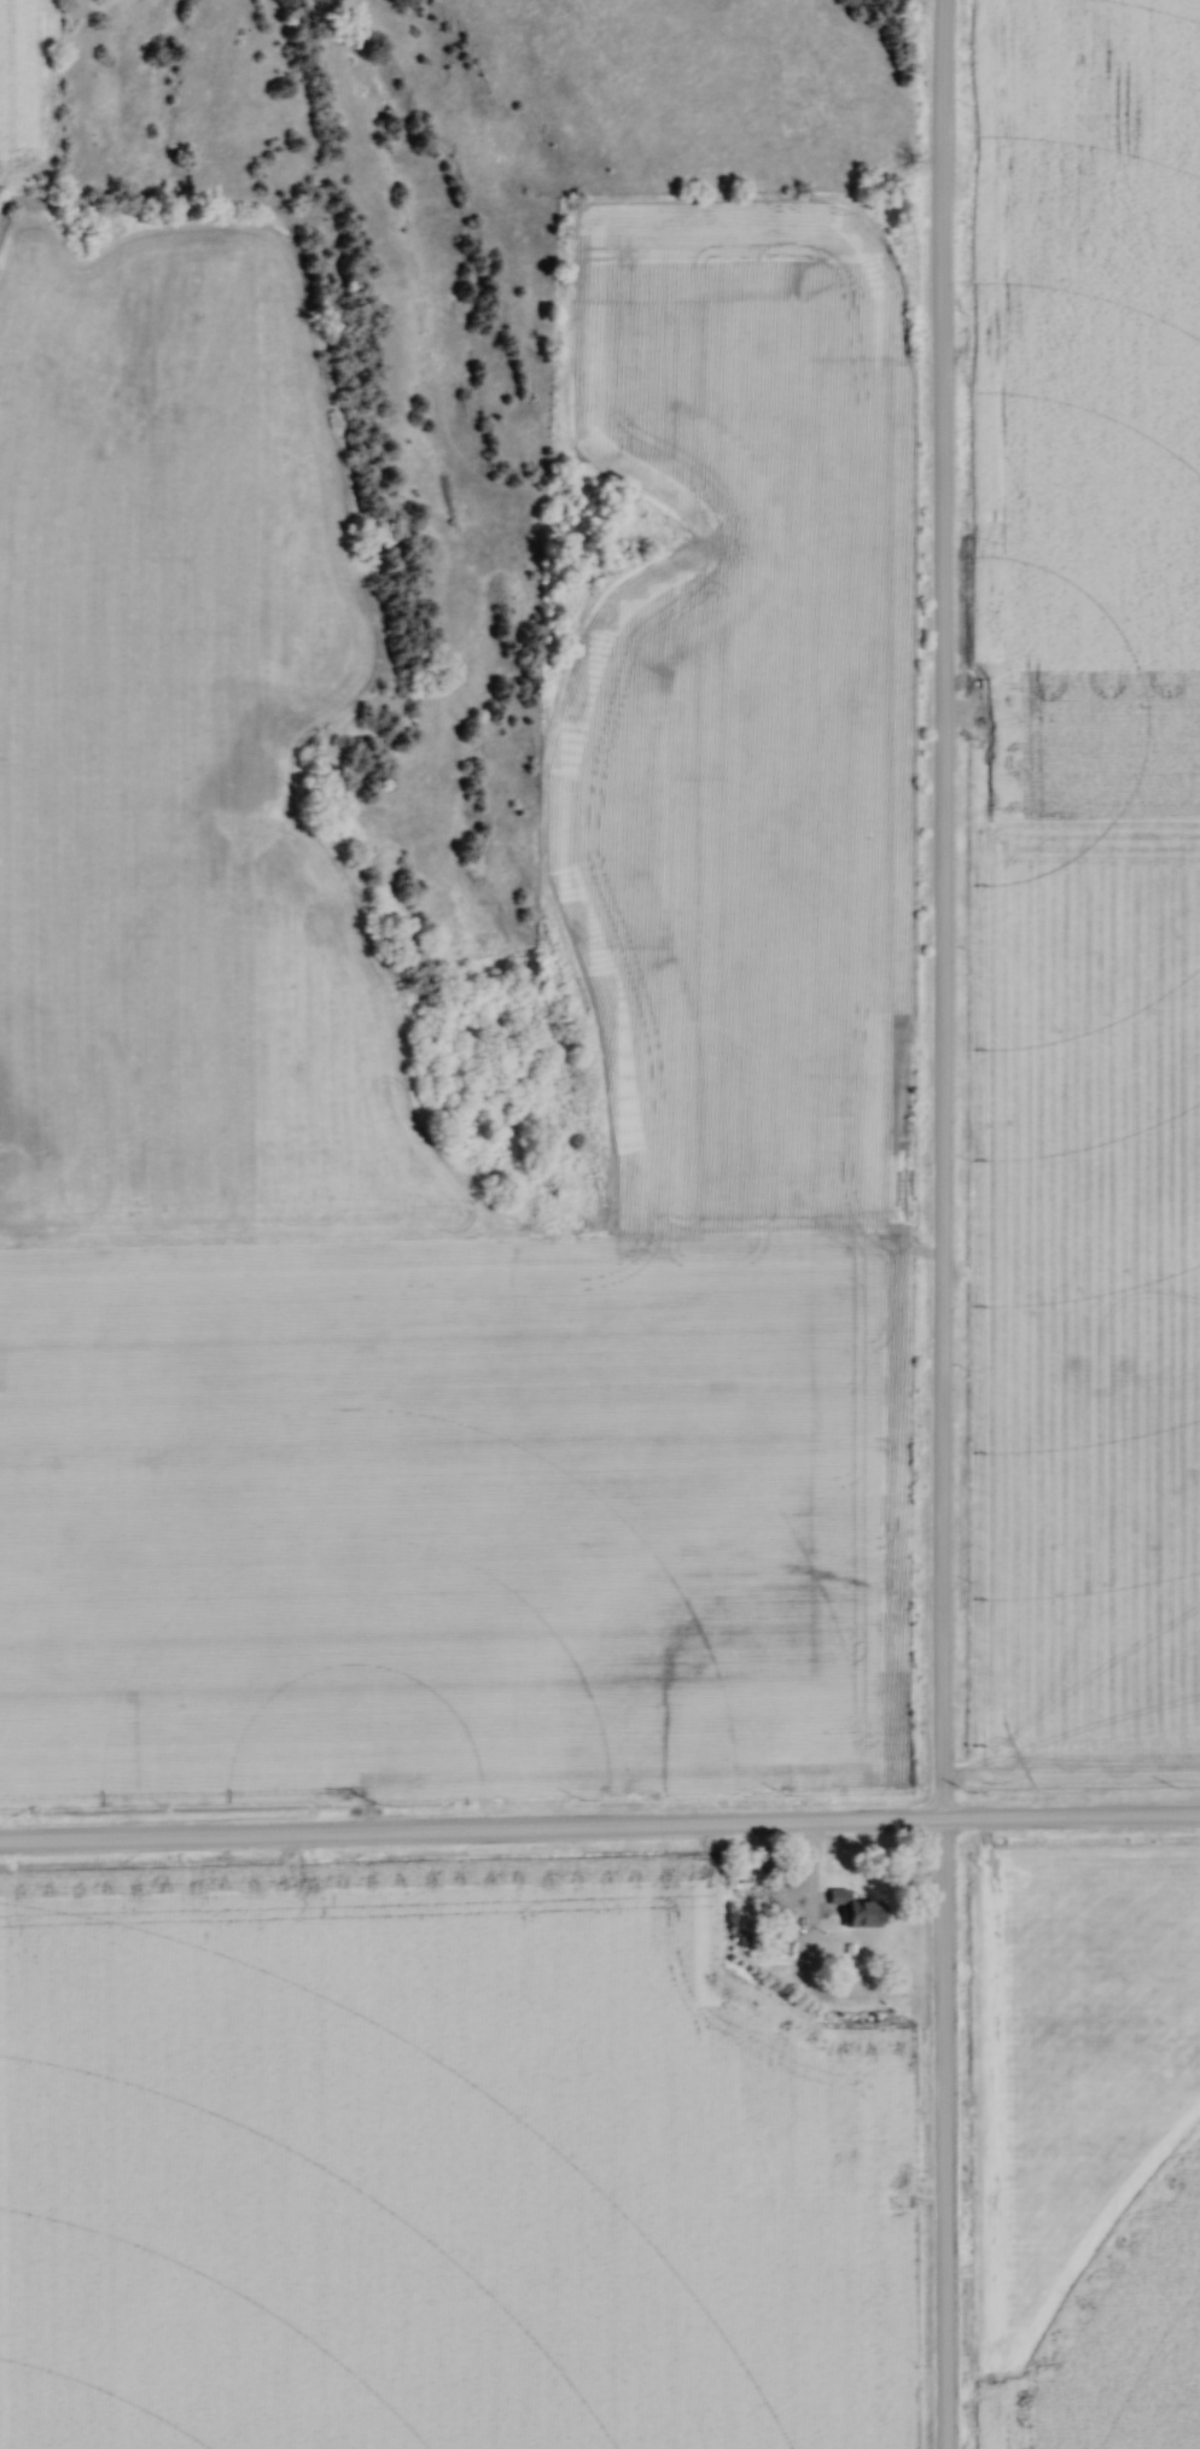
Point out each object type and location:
road: (939, 1224)
road: (599, 1832)
building: (861, 1909)
building: (847, 2127)

